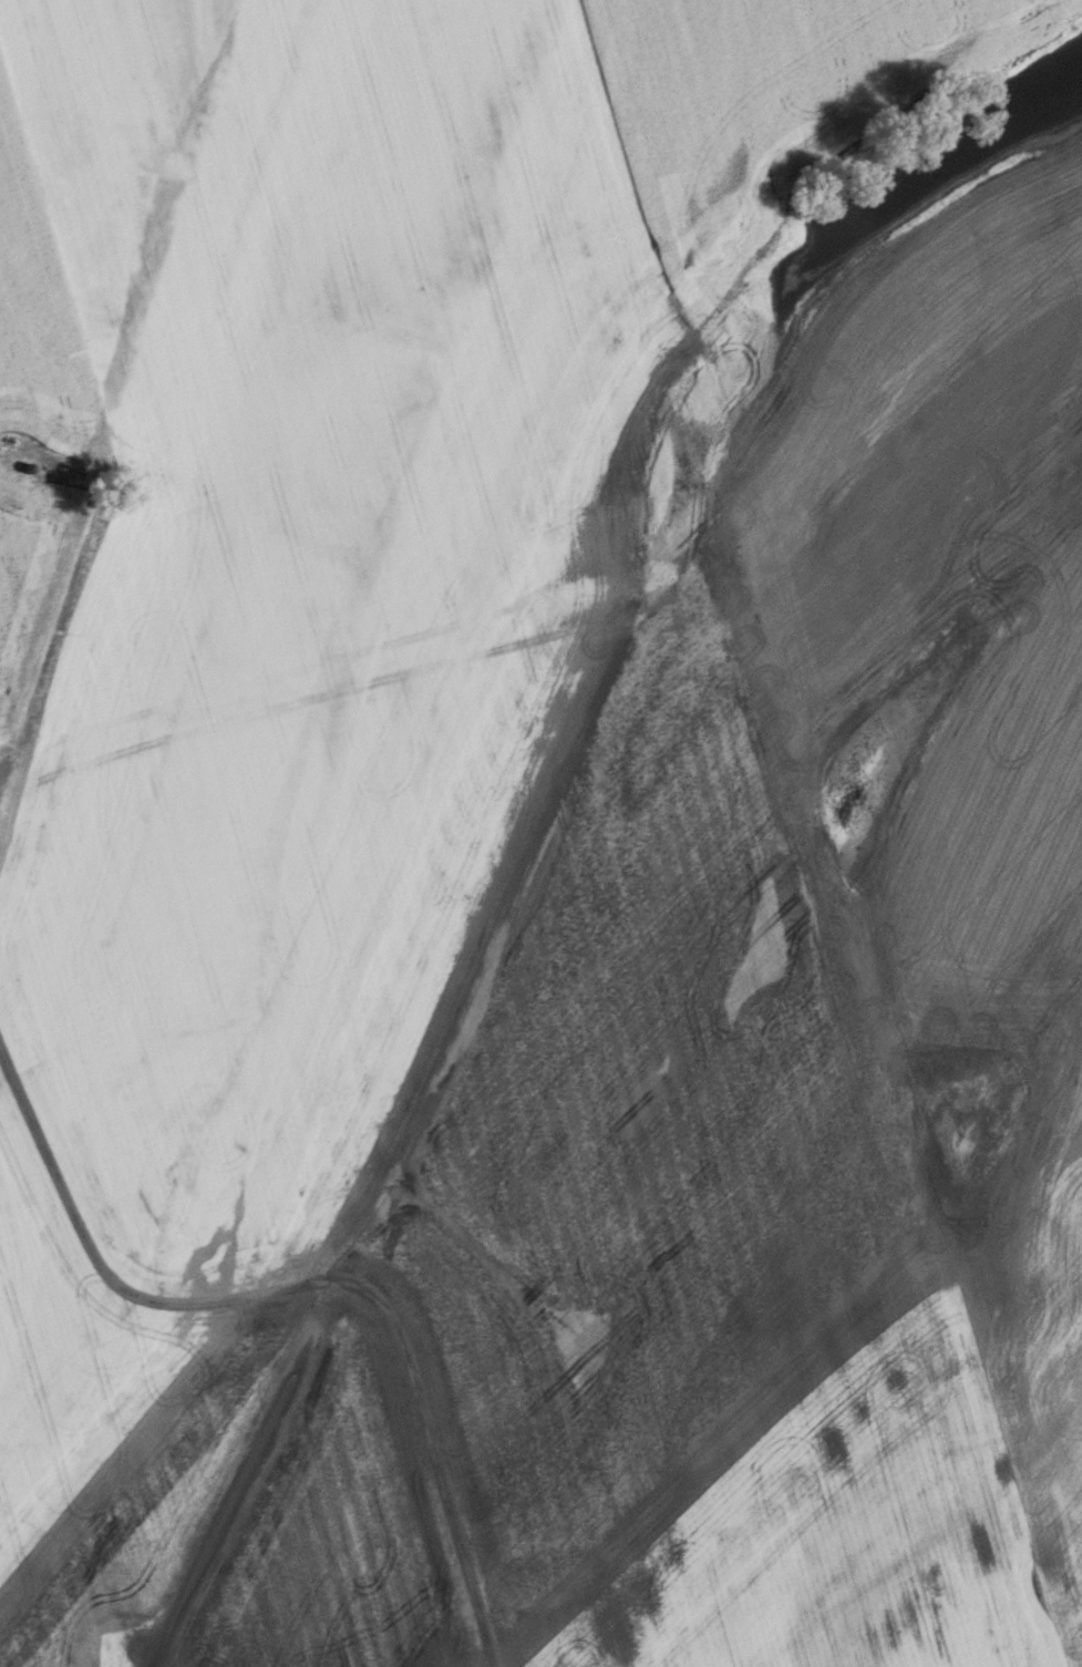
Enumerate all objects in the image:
road: (48, 638)
crop: (540, 833)
road: (309, 1283)

